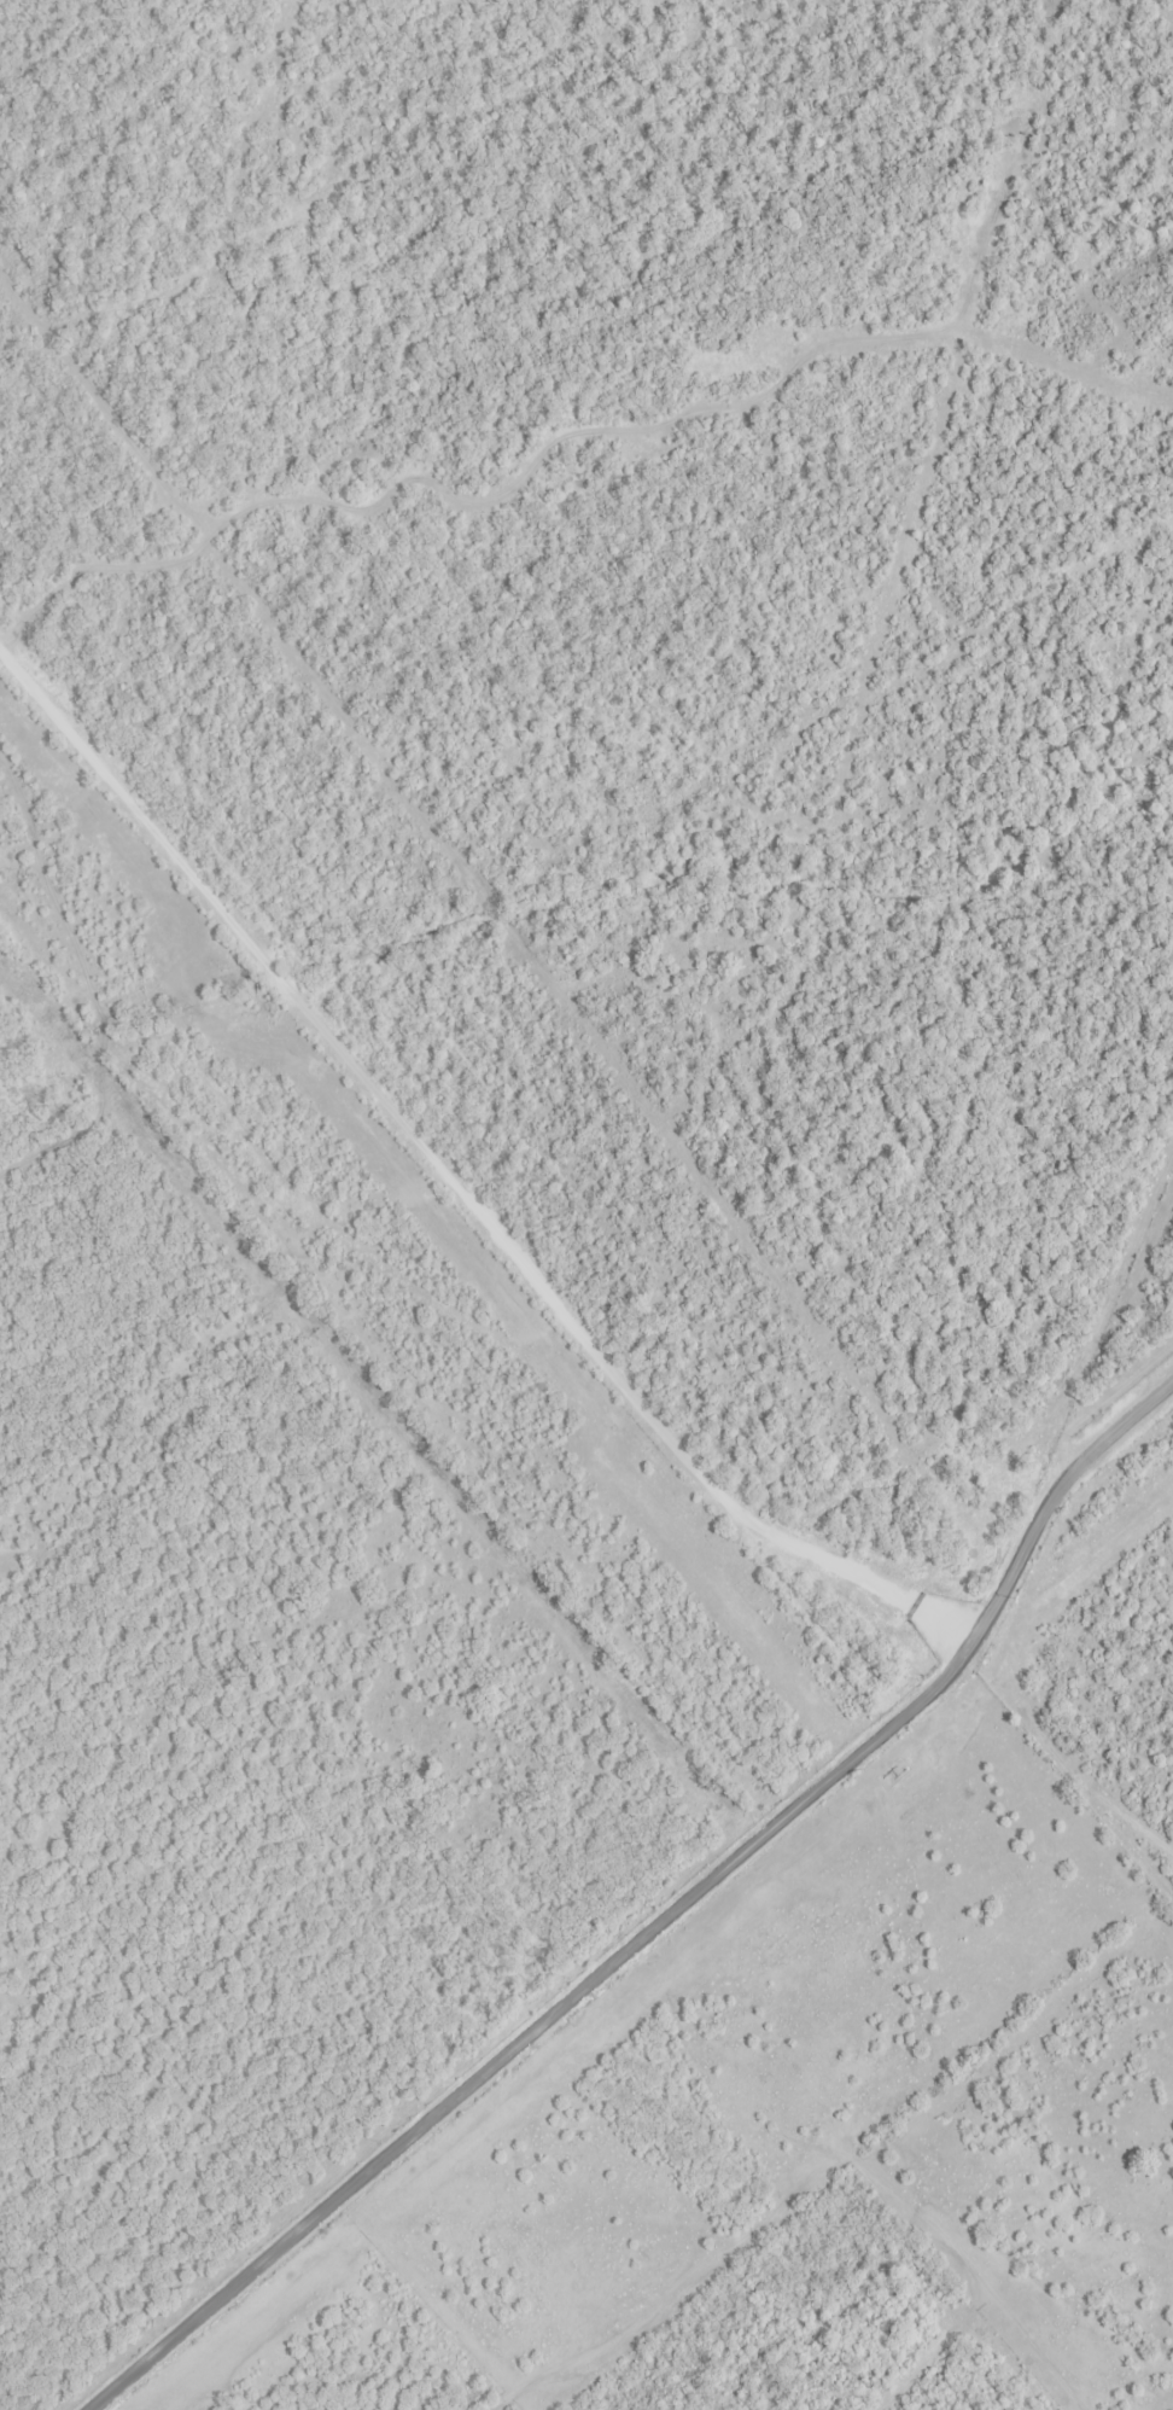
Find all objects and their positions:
road: (457, 1181)
road: (676, 1921)

